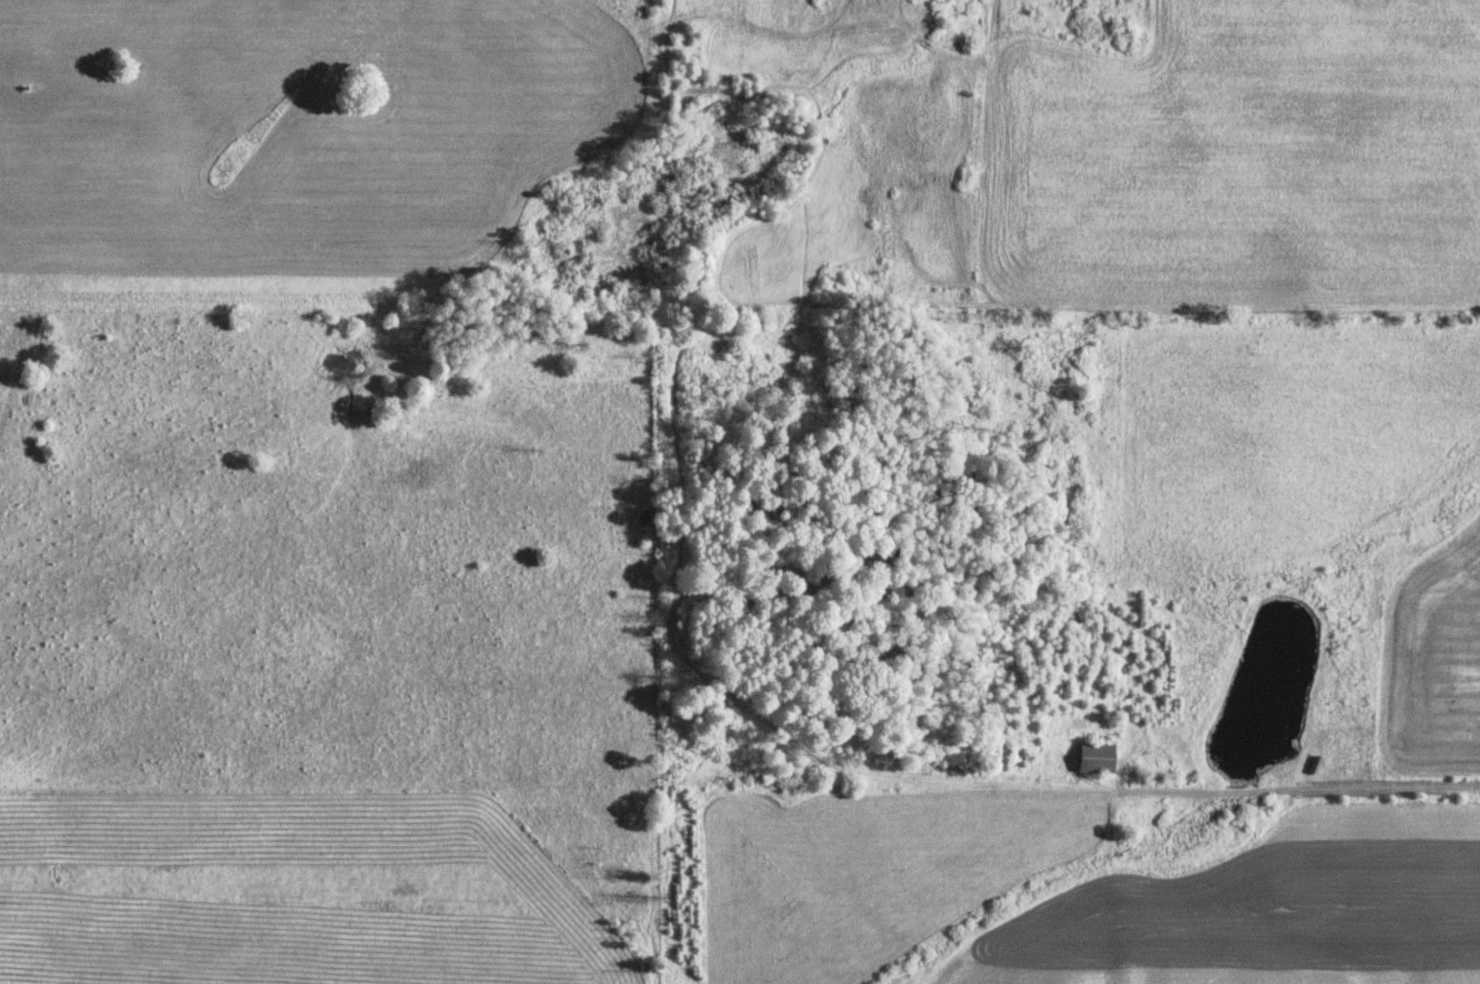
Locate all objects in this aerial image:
building: (1092, 758)

